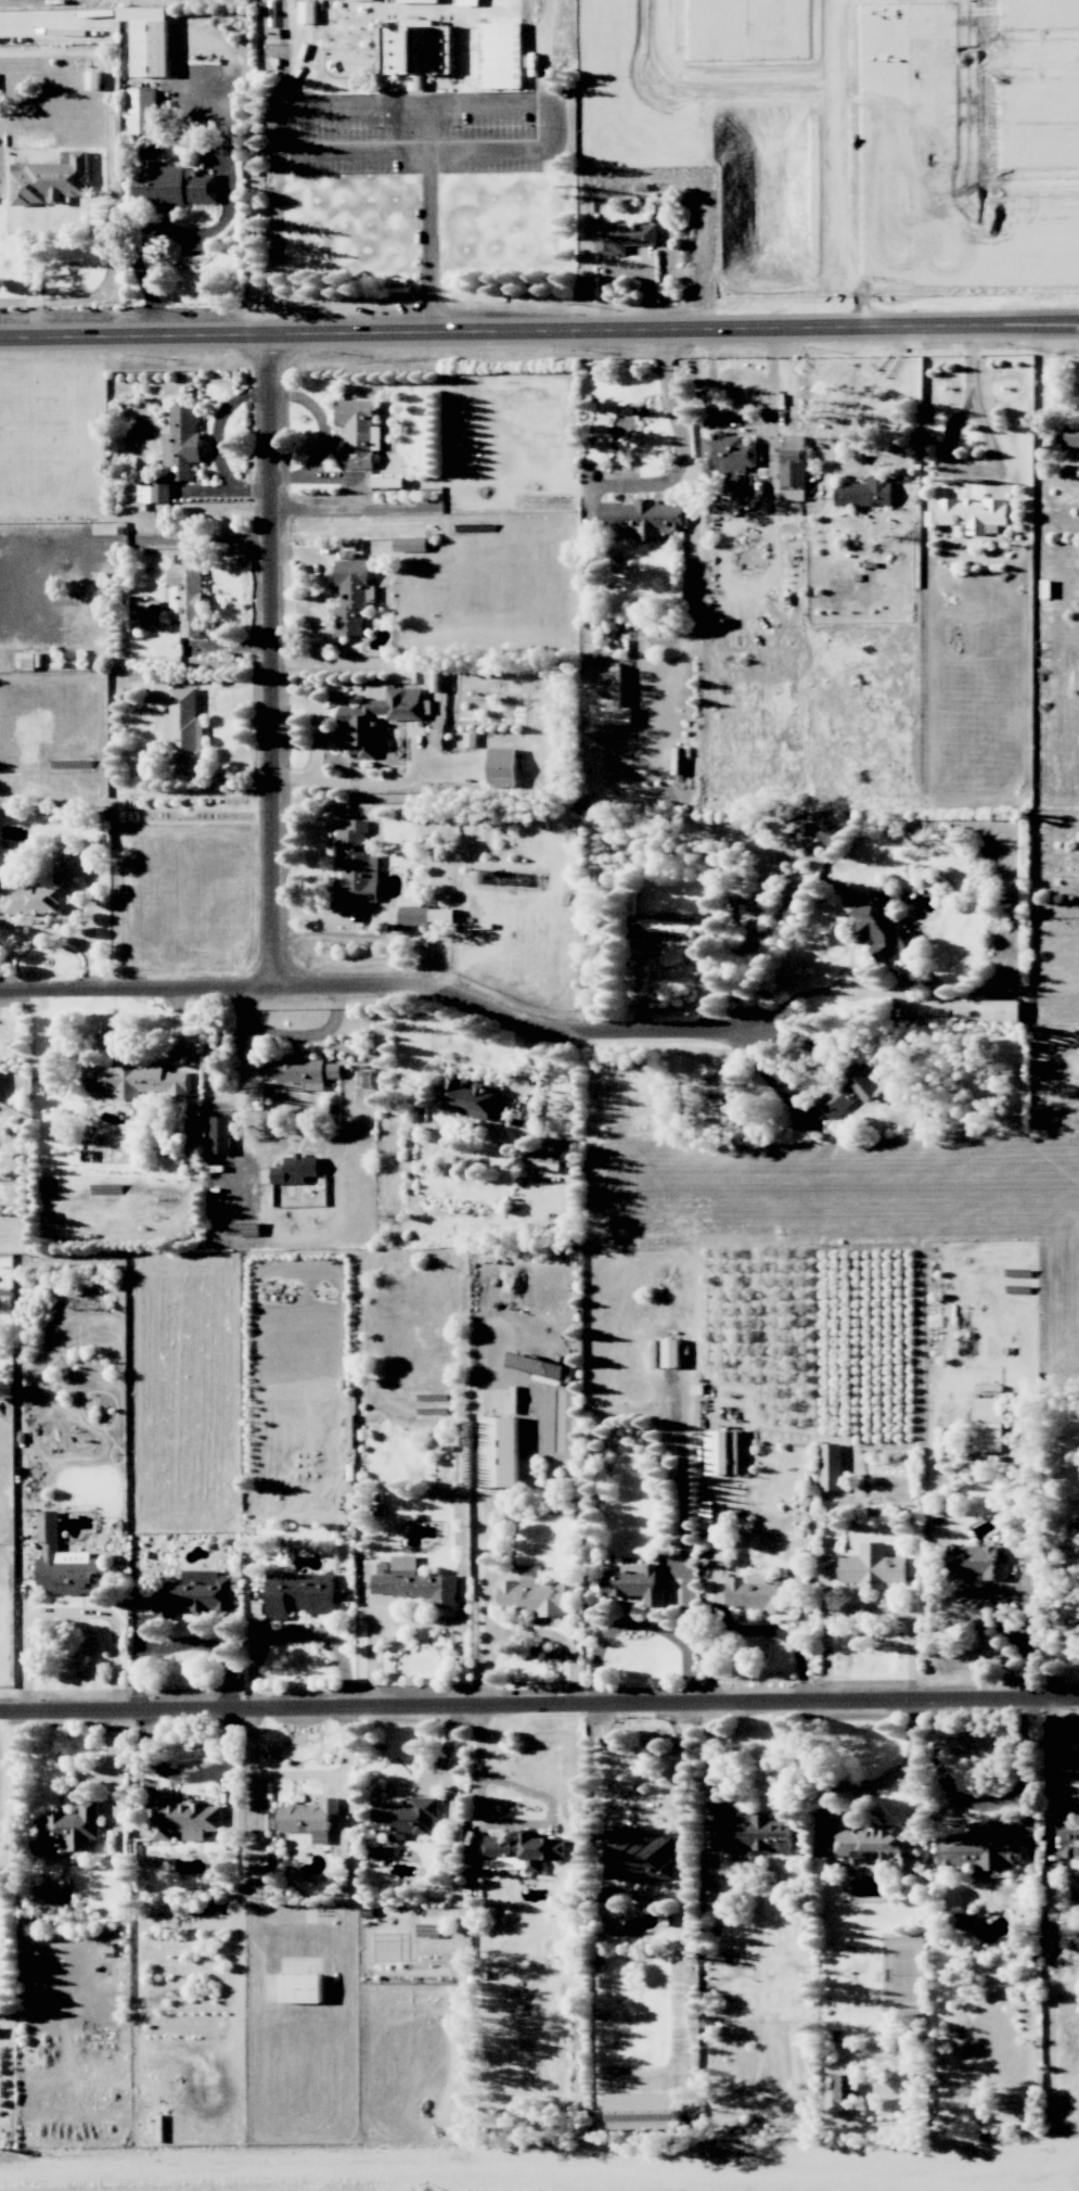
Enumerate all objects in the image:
building: (416, 1)
building: (468, 2)
building: (308, 12)
building: (149, 39)
building: (416, 48)
building: (94, 80)
road: (488, 101)
building: (143, 111)
road: (431, 127)
building: (51, 179)
building: (170, 188)
road: (56, 219)
road: (156, 229)
building: (624, 237)
road: (36, 268)
road: (539, 328)
road: (862, 388)
building: (935, 429)
building: (358, 433)
building: (1071, 436)
building: (182, 442)
building: (728, 453)
road: (948, 456)
road: (682, 460)
building: (793, 474)
building: (154, 491)
building: (865, 493)
building: (969, 513)
building: (639, 518)
building: (410, 544)
building: (352, 596)
building: (187, 600)
road: (271, 658)
building: (26, 661)
building: (608, 697)
building: (357, 722)
building: (184, 733)
building: (471, 739)
building: (503, 767)
building: (358, 864)
building: (44, 887)
building: (423, 913)
road: (330, 914)
building: (883, 927)
building: (676, 930)
road: (50, 933)
road: (383, 986)
road: (800, 995)
building: (1001, 1010)
road: (286, 1036)
building: (299, 1071)
building: (134, 1080)
building: (0, 1085)
building: (851, 1087)
building: (473, 1099)
building: (220, 1134)
building: (543, 1161)
building: (296, 1170)
building: (671, 1352)
building: (536, 1366)
building: (989, 1424)
building: (500, 1452)
building: (722, 1452)
building: (831, 1466)
building: (1078, 1536)
building: (976, 1563)
building: (67, 1564)
building: (873, 1567)
building: (415, 1583)
building: (635, 1583)
building: (194, 1594)
building: (300, 1594)
building: (531, 1594)
building: (760, 1594)
road: (1022, 1600)
road: (72, 1614)
road: (639, 1625)
road: (299, 1632)
road: (529, 1632)
road: (539, 1706)
road: (900, 1769)
road: (1050, 1770)
road: (301, 1775)
road: (986, 1801)
building: (406, 1818)
building: (184, 1819)
building: (309, 1819)
road: (509, 1824)
building: (68, 1829)
building: (760, 1833)
building: (1070, 1843)
building: (878, 1847)
building: (980, 1848)
building: (523, 1851)
building: (640, 1856)
building: (301, 1988)
building: (846, 2089)
building: (639, 2111)

